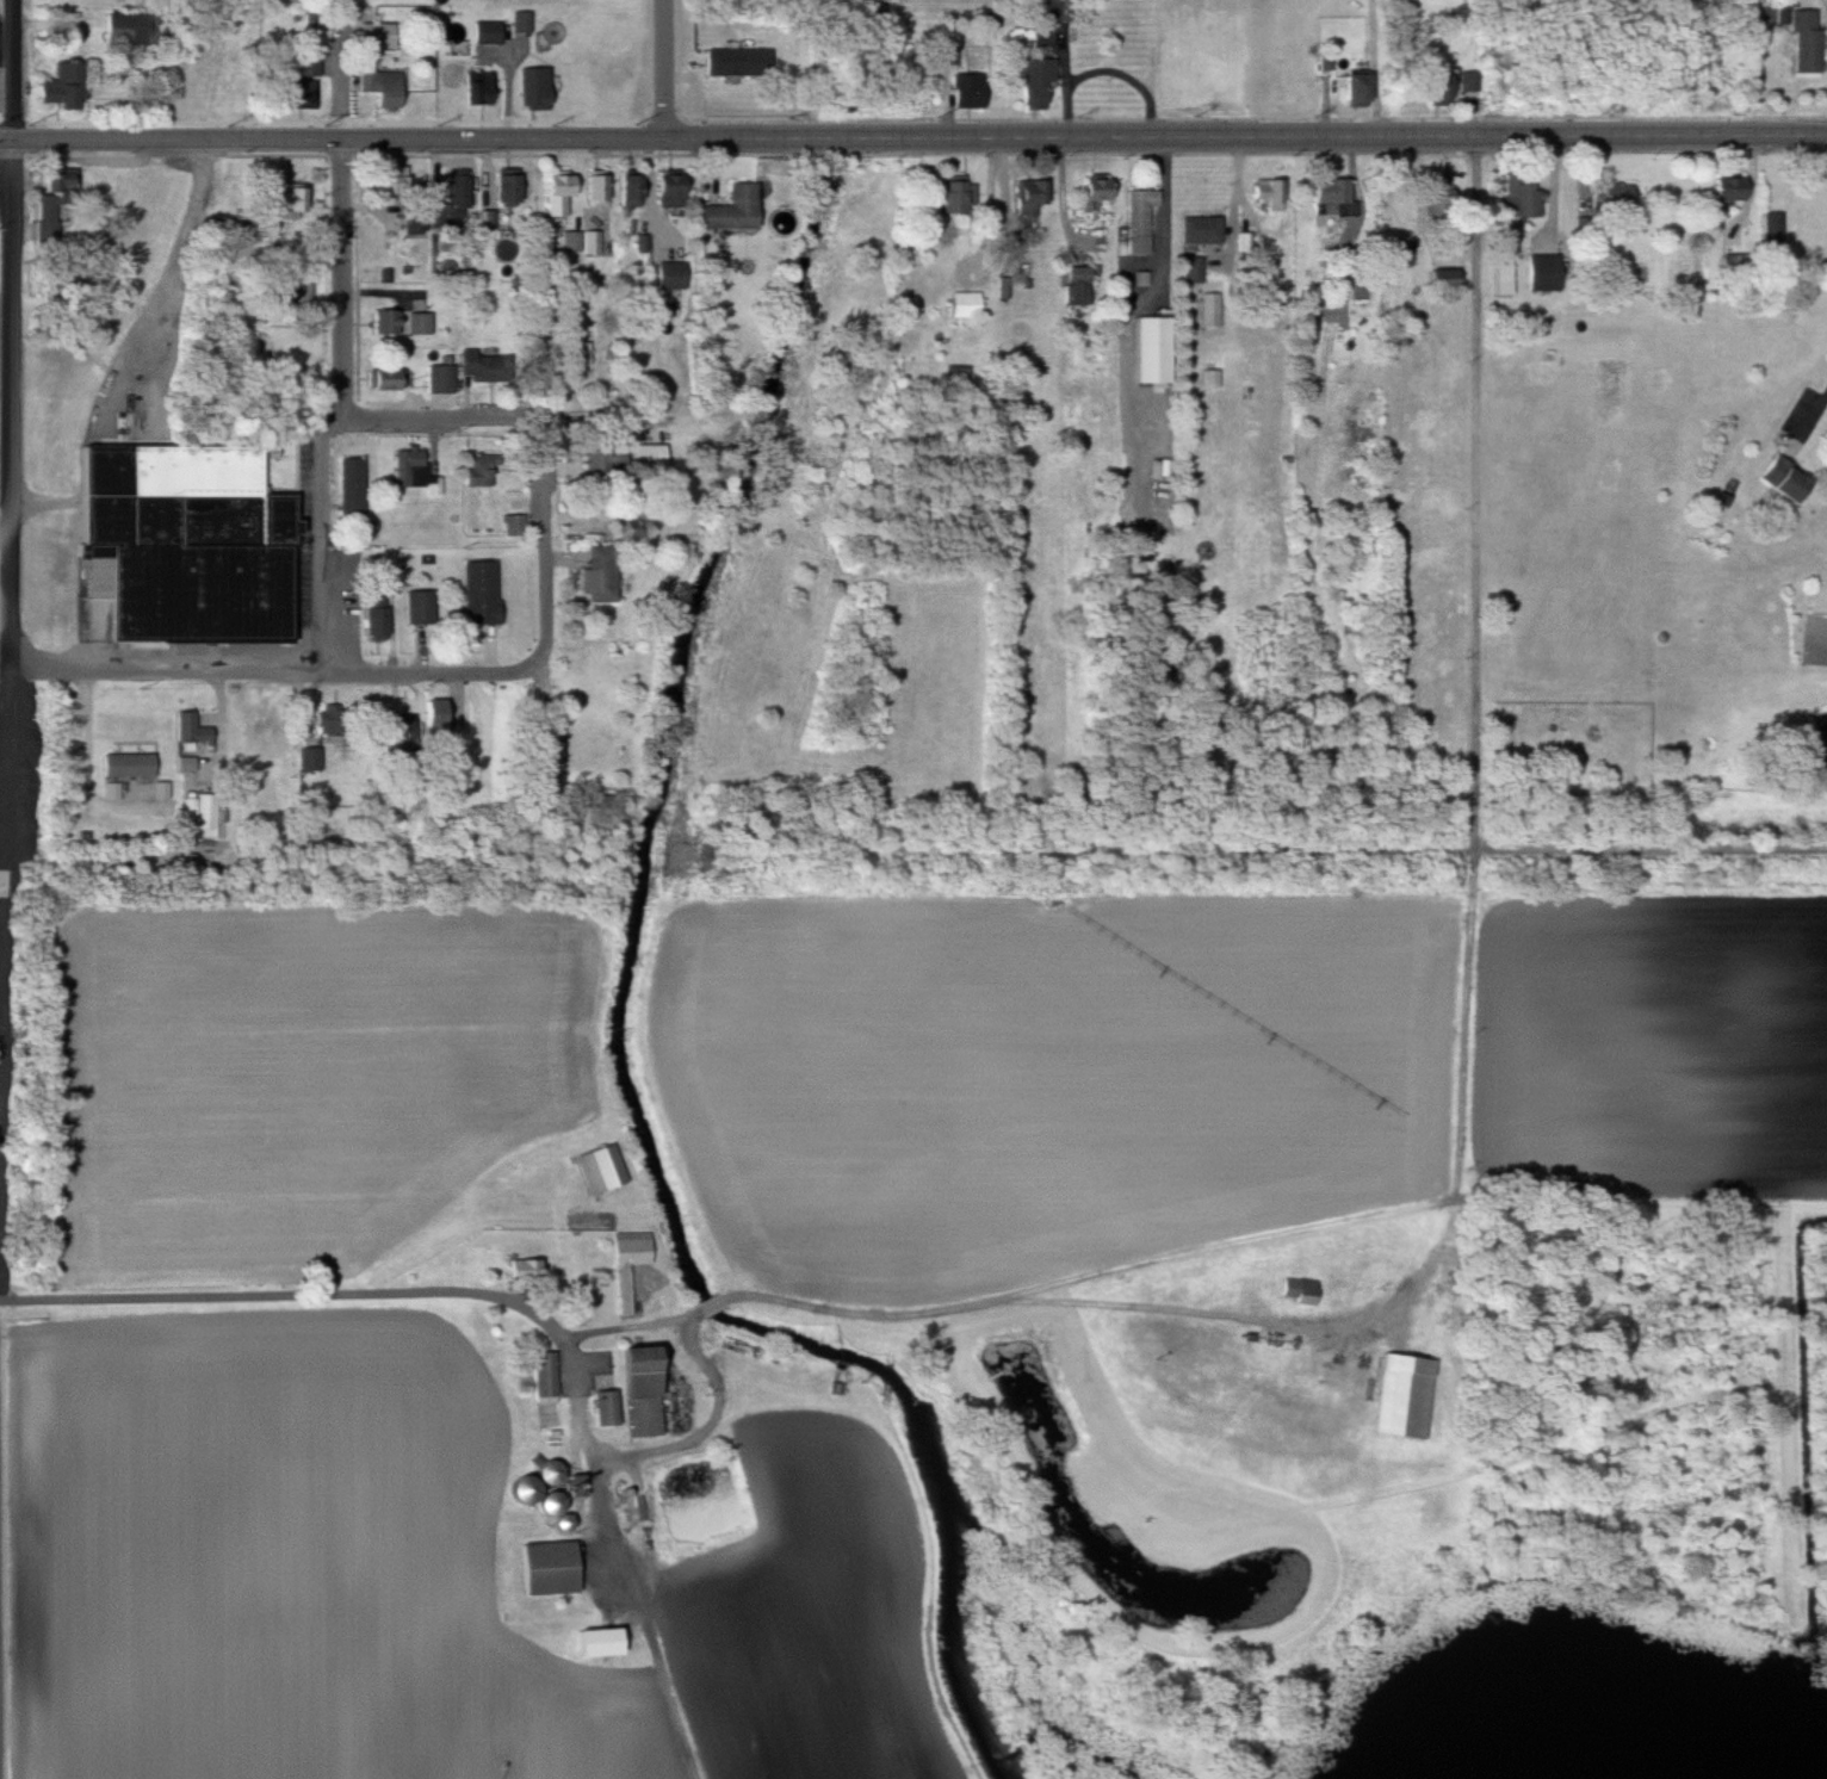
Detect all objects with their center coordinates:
road: (8, 4)
building: (1048, 10)
building: (521, 21)
building: (134, 30)
building: (488, 32)
building: (377, 36)
building: (1806, 39)
building: (738, 62)
road: (667, 69)
road: (17, 70)
road: (1106, 70)
building: (303, 80)
building: (1036, 81)
building: (67, 82)
building: (1449, 85)
building: (383, 88)
building: (477, 88)
building: (533, 88)
building: (1355, 88)
building: (967, 91)
road: (913, 140)
building: (507, 186)
building: (1727, 187)
building: (596, 188)
building: (669, 188)
building: (630, 190)
building: (558, 192)
building: (1095, 192)
building: (1330, 192)
building: (956, 193)
building: (457, 194)
building: (1521, 196)
building: (1612, 196)
building: (1270, 197)
building: (1027, 198)
road: (1555, 202)
building: (54, 203)
building: (281, 205)
building: (1436, 205)
building: (730, 210)
building: (415, 219)
building: (1140, 219)
building: (1773, 227)
building: (1201, 229)
building: (582, 242)
road: (186, 262)
building: (1193, 269)
building: (1543, 273)
building: (669, 275)
building: (1505, 277)
building: (1442, 279)
building: (1076, 285)
road: (16, 287)
road: (1139, 300)
building: (965, 304)
building: (386, 322)
building: (419, 323)
building: (1309, 327)
building: (1151, 349)
building: (581, 354)
building: (483, 366)
building: (440, 378)
building: (385, 379)
road: (343, 409)
road: (1813, 414)
road: (465, 419)
building: (649, 454)
building: (600, 463)
building: (478, 470)
building: (415, 471)
building: (1783, 478)
building: (351, 485)
building: (514, 525)
road: (7, 535)
building: (182, 543)
building: (601, 572)
road: (550, 574)
road: (13, 583)
building: (479, 591)
building: (417, 607)
building: (376, 620)
road: (312, 672)
building: (334, 720)
building: (417, 725)
building: (191, 729)
building: (544, 748)
building: (309, 758)
building: (129, 764)
building: (1560, 769)
building: (206, 816)
building: (602, 1169)
building: (630, 1264)
building: (524, 1272)
building: (1300, 1290)
road: (361, 1294)
road: (574, 1369)
building: (545, 1377)
building: (640, 1391)
building: (1400, 1396)
building: (605, 1409)
building: (549, 1569)
building: (594, 1641)

